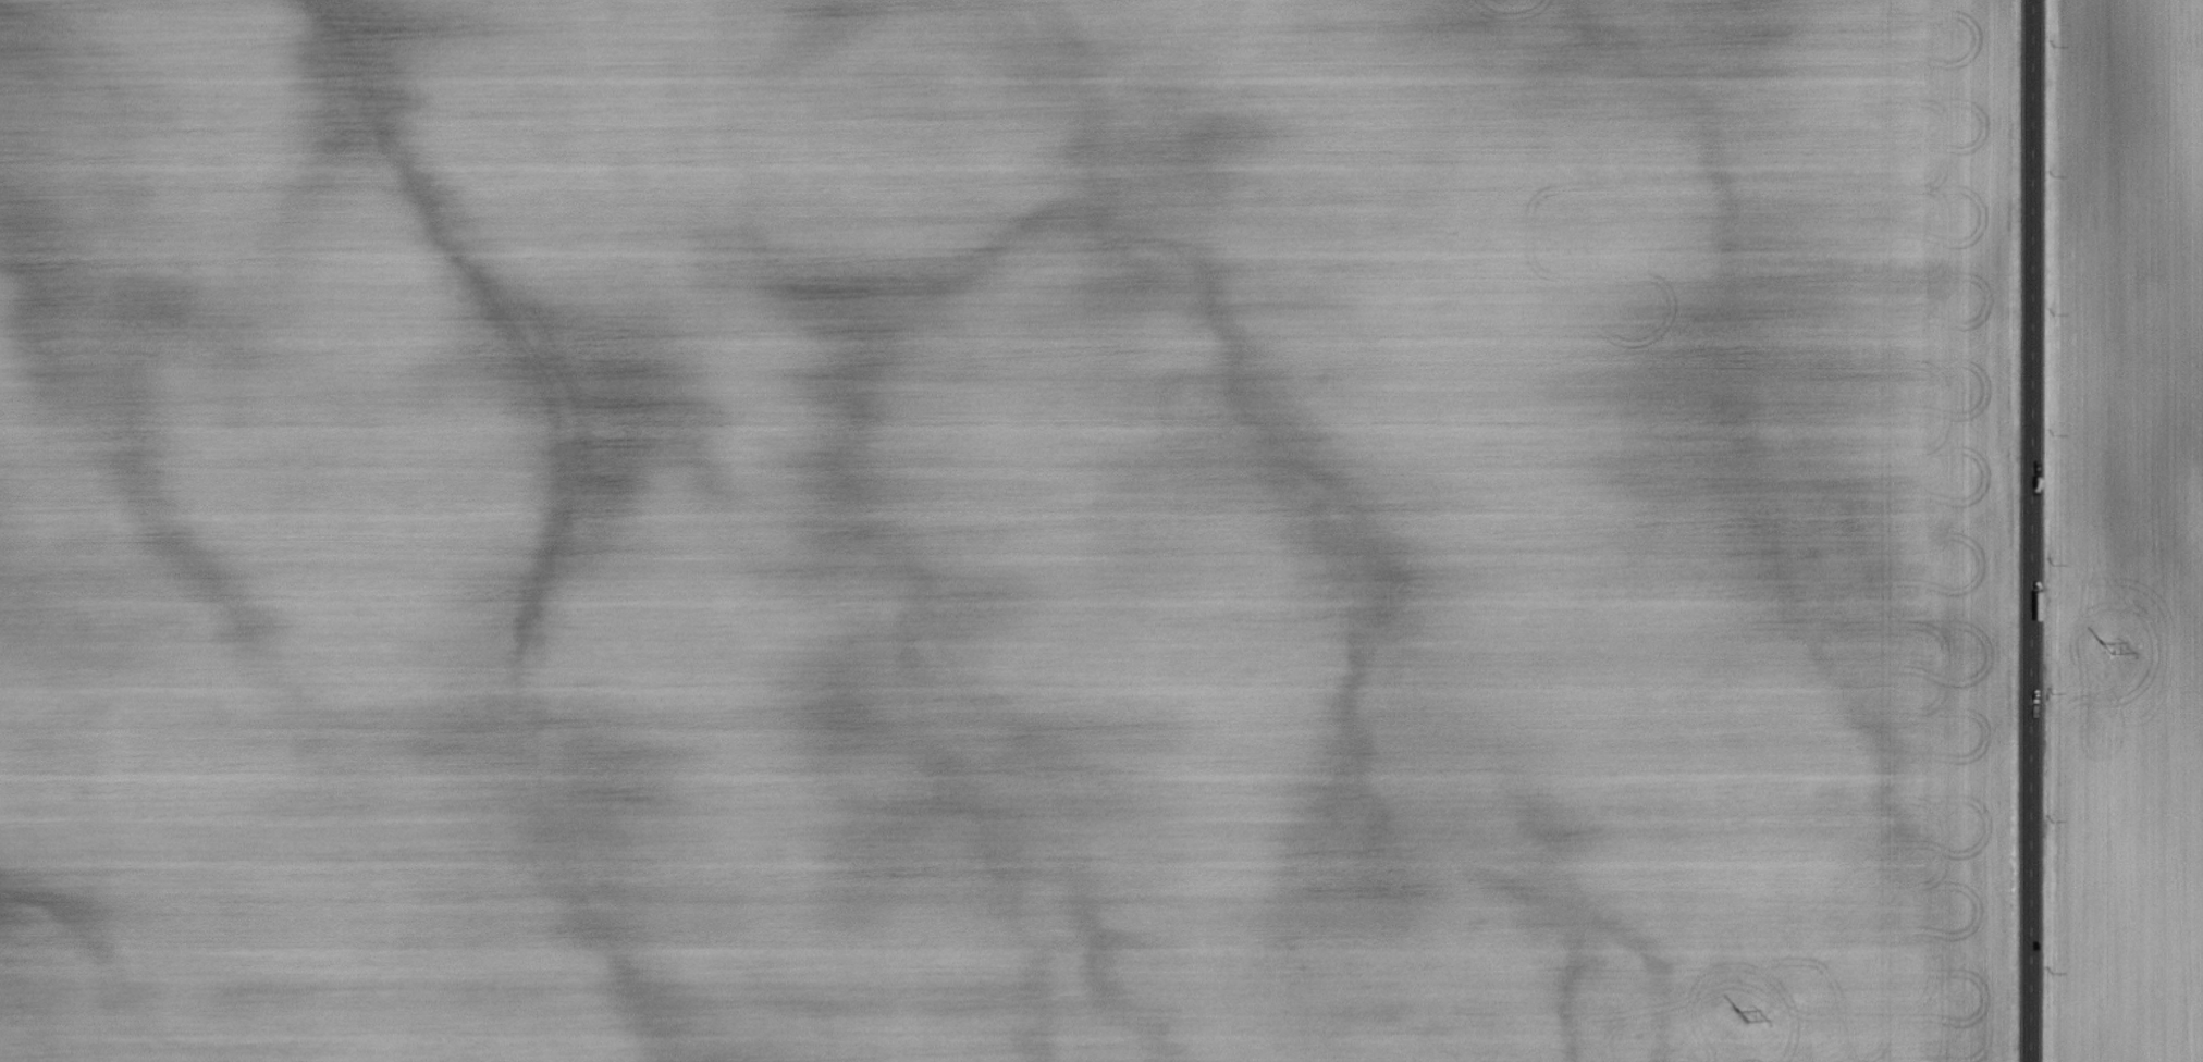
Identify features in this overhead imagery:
road: (2030, 531)
power tower: (2105, 646)
power tower: (1742, 1014)

